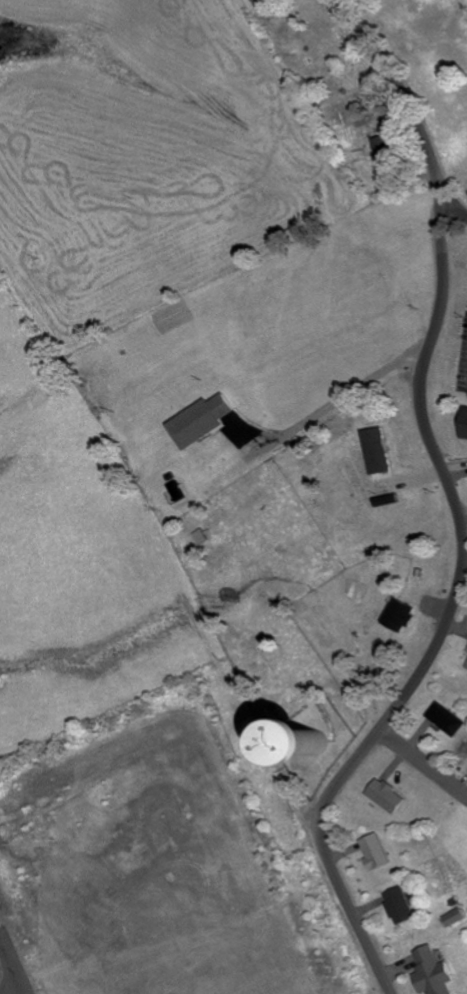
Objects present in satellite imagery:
road: (406, 89)
road: (455, 202)
building: (202, 422)
building: (465, 426)
building: (378, 452)
building: (386, 501)
road: (454, 614)
building: (399, 616)
building: (466, 667)
building: (446, 720)
building: (302, 752)
road: (426, 762)
building: (387, 797)
building: (375, 853)
building: (400, 905)
building: (455, 917)
road: (13, 966)
building: (433, 972)
road: (23, 993)

